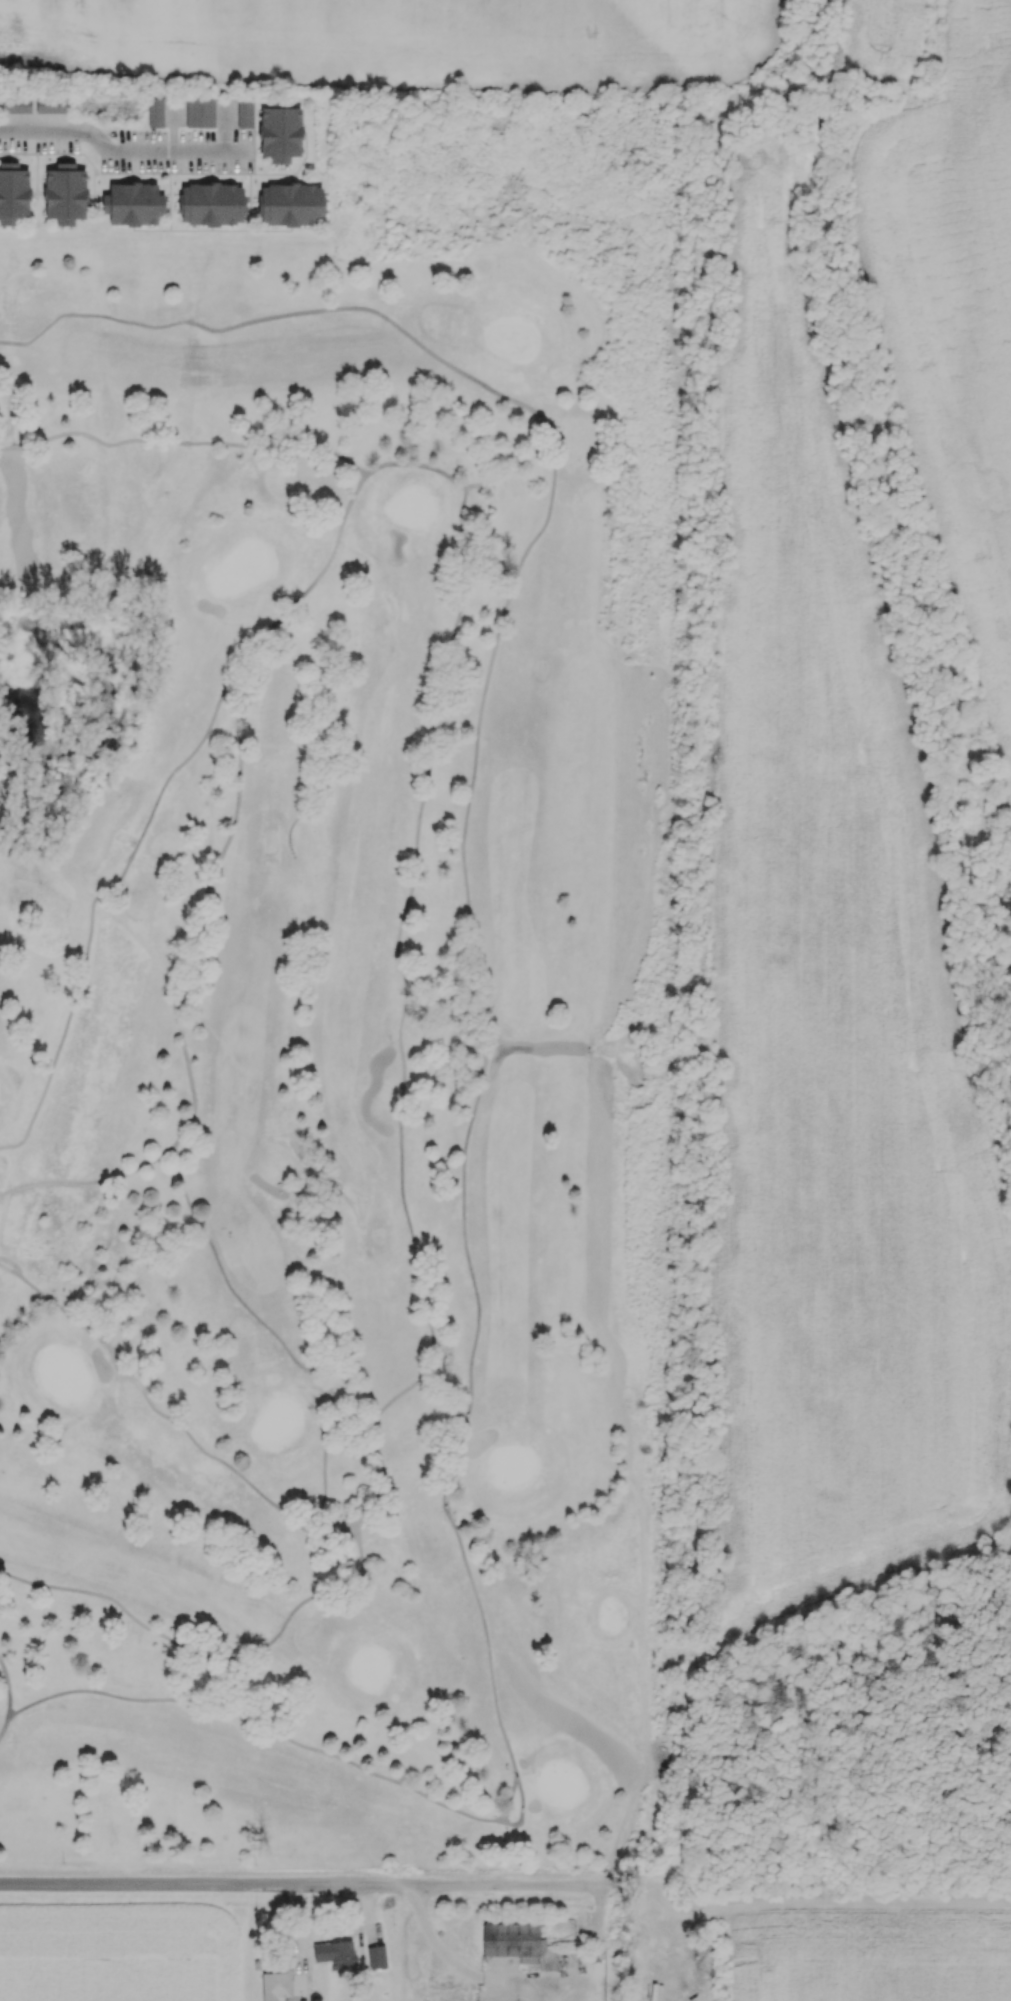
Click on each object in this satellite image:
road: (120, 150)
crop: (946, 279)
road: (279, 317)
road: (183, 443)
road: (416, 464)
road: (517, 469)
road: (331, 558)
road: (302, 697)
road: (288, 837)
road: (117, 887)
road: (209, 887)
park: (347, 1011)
road: (401, 1022)
crop: (835, 1033)
road: (90, 1184)
road: (13, 1263)
road: (10, 1270)
road: (277, 1337)
road: (469, 1380)
road: (154, 1410)
road: (329, 1528)
building: (372, 1533)
road: (214, 1660)
road: (9, 1688)
road: (4, 1727)
road: (298, 1884)
crop: (872, 1953)
crop: (120, 1956)
road: (475, 1977)

